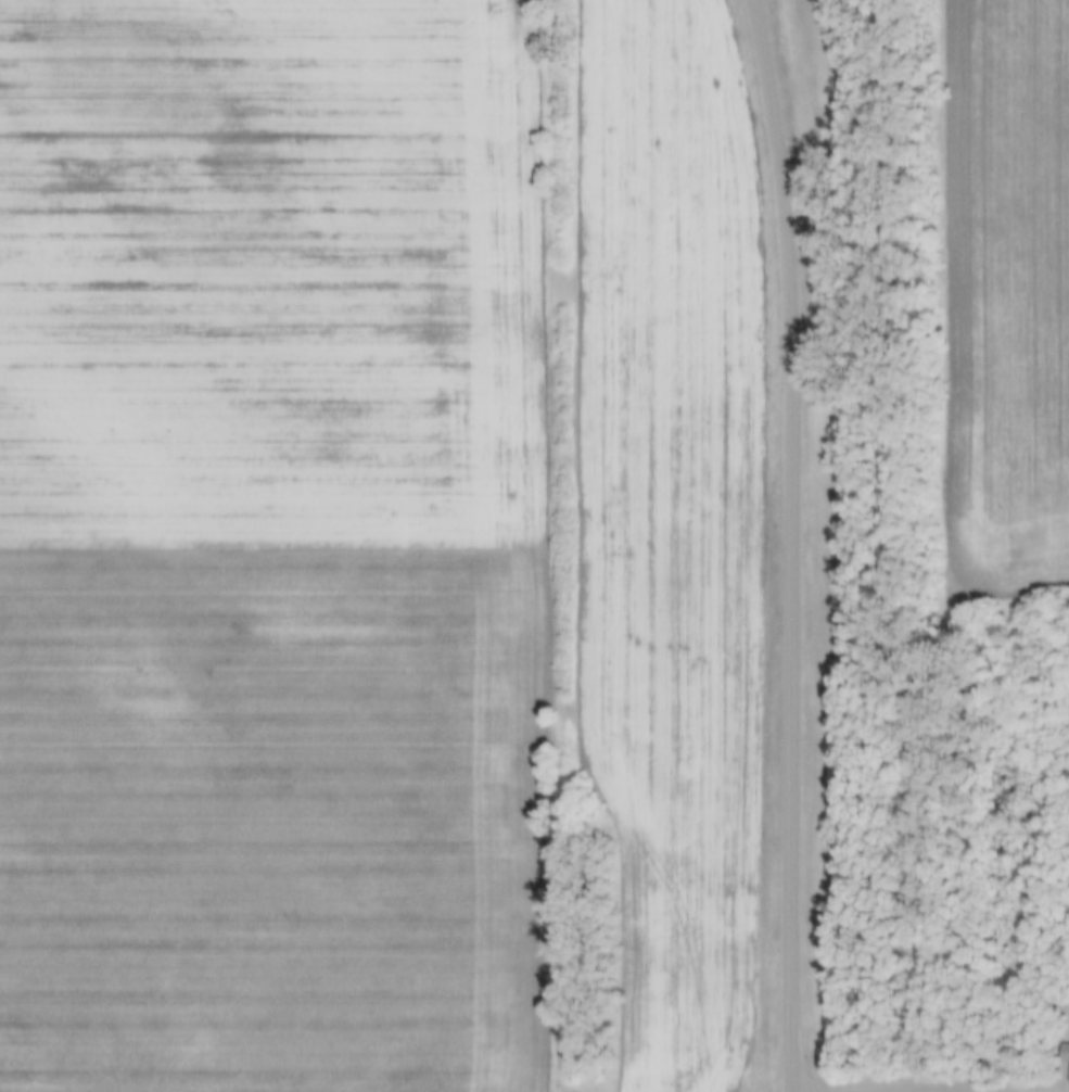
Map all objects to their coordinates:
road: (791, 544)
building: (1066, 1053)

